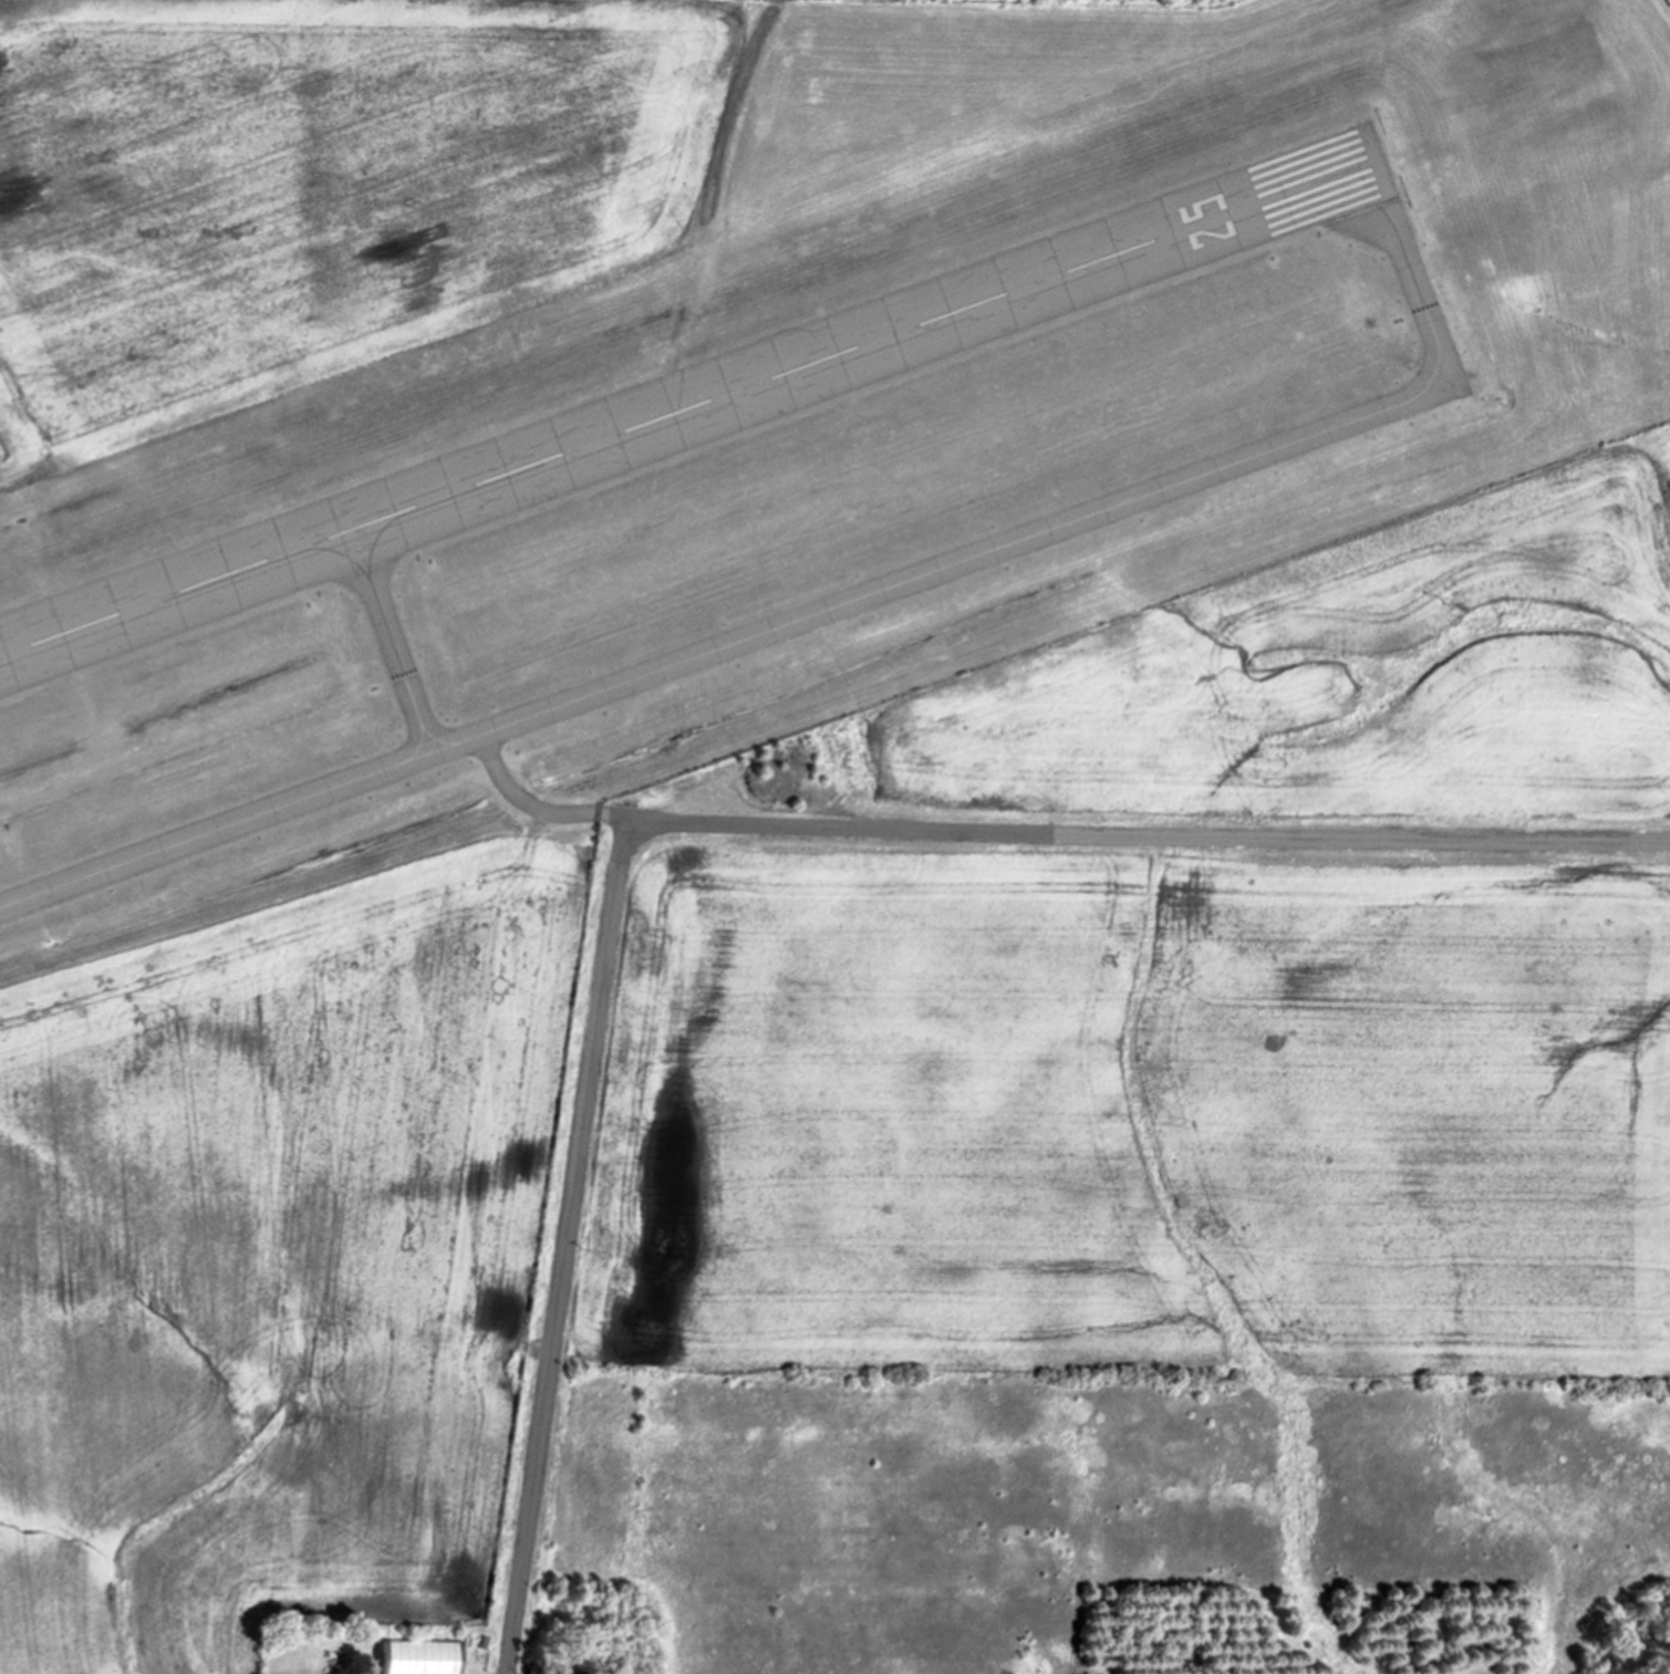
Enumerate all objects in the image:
airport runway: (692, 405)
airport taxiway: (837, 606)
airport: (698, 621)
airport taxiway: (393, 640)
road: (544, 811)
road: (724, 825)
building: (415, 1657)

